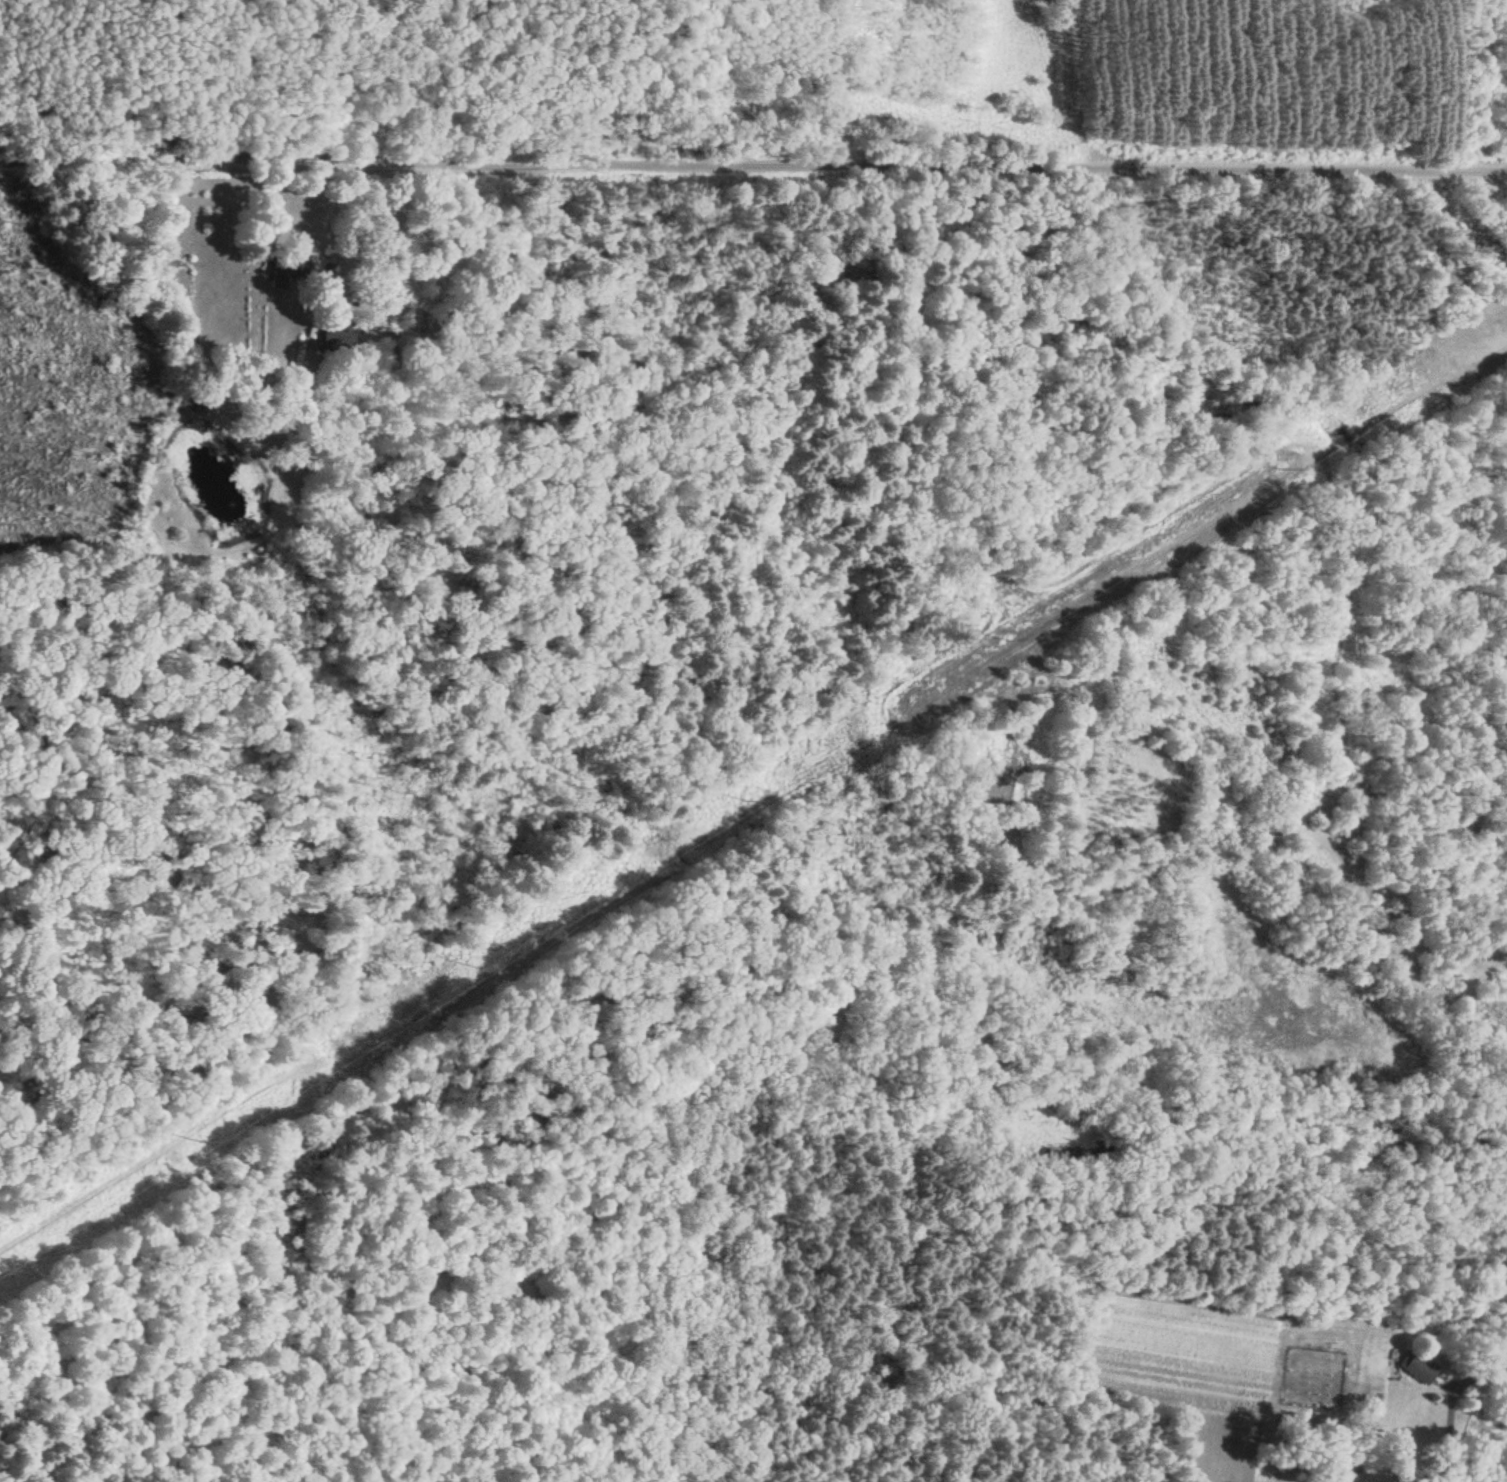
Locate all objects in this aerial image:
road: (492, 71)
road: (753, 143)
building: (1414, 1368)

